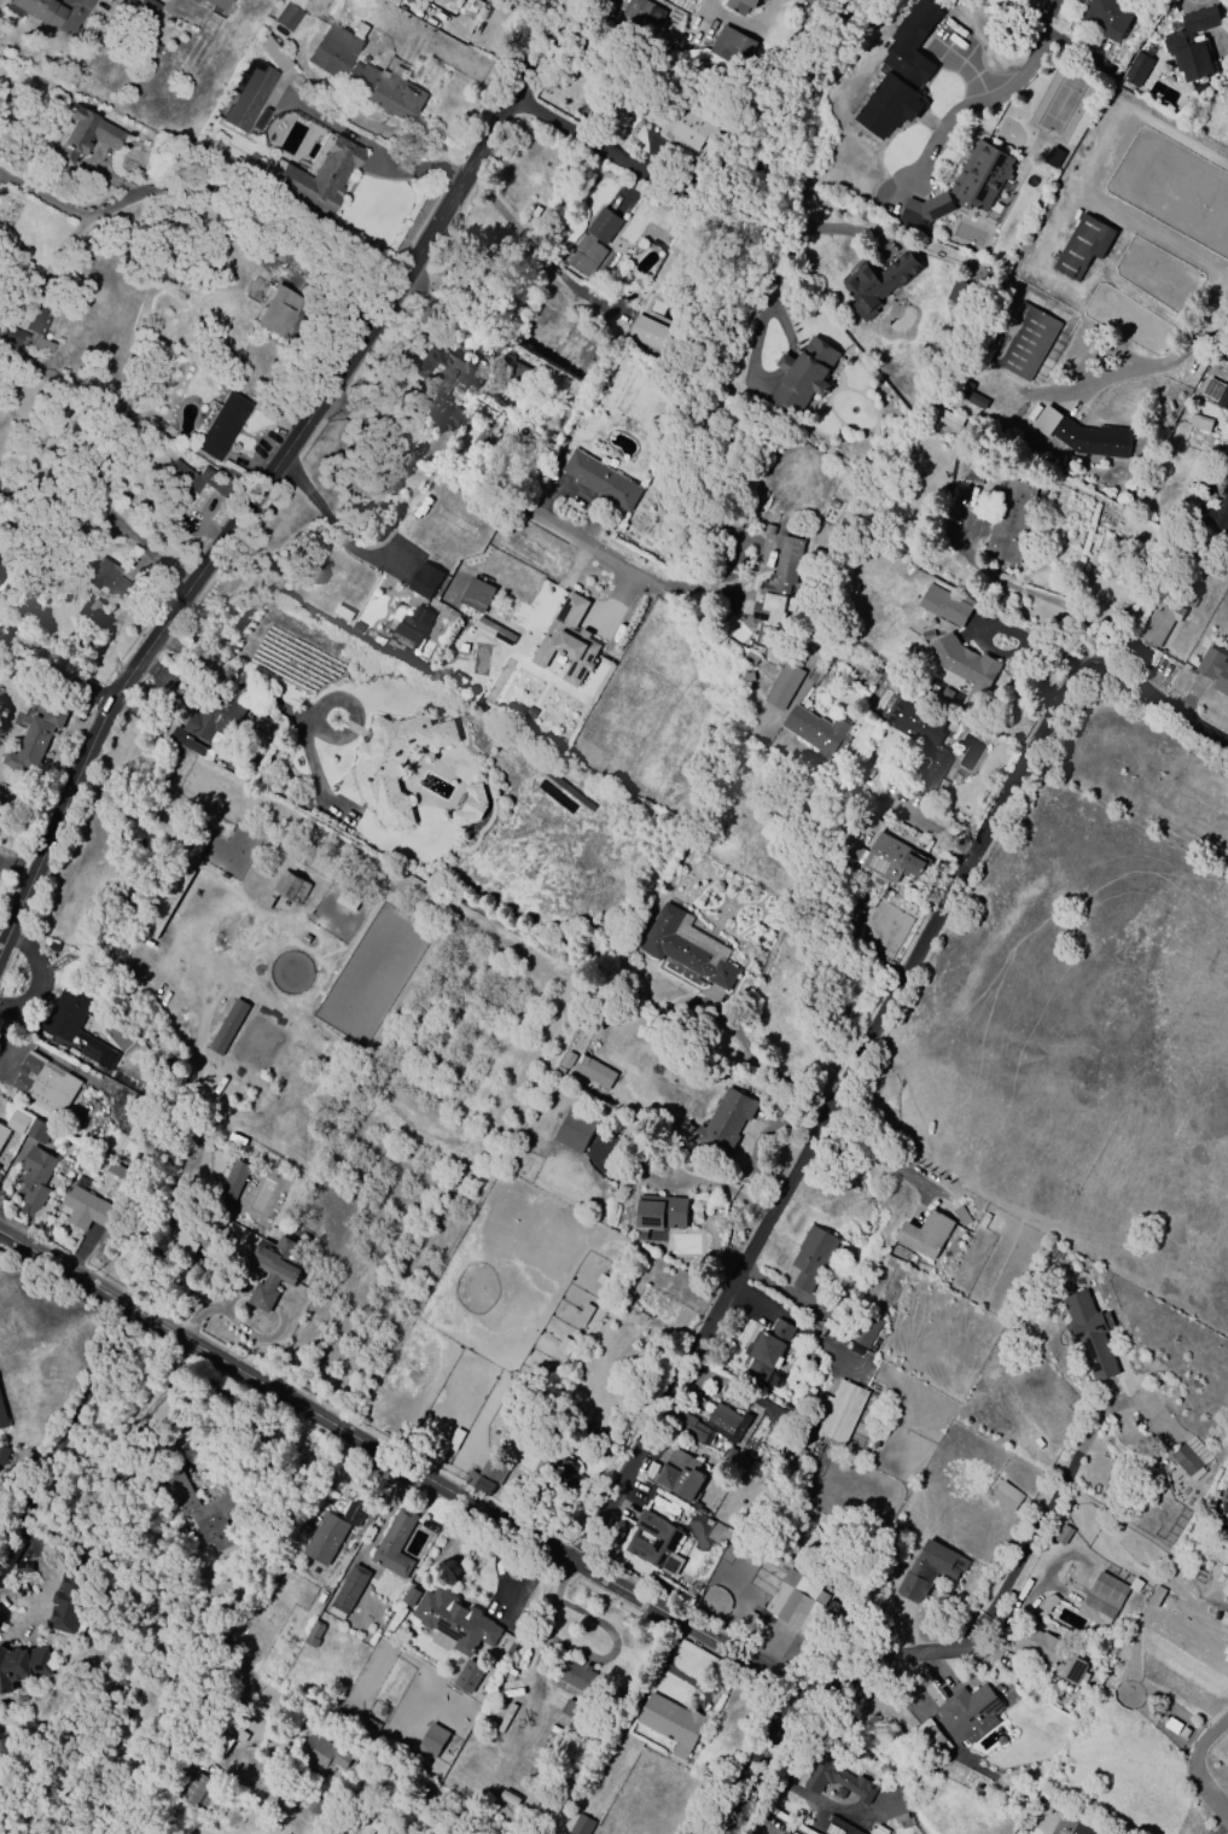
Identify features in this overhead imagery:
building: (192, 0)
building: (1123, 0)
building: (409, 1)
building: (391, 2)
road: (564, 2)
building: (815, 2)
building: (216, 4)
building: (743, 6)
building: (471, 8)
building: (41, 10)
building: (144, 12)
building: (289, 13)
road: (1051, 14)
building: (644, 16)
building: (1107, 17)
road: (745, 22)
building: (1191, 45)
building: (732, 47)
building: (336, 50)
building: (1136, 69)
building: (900, 74)
building: (384, 92)
building: (246, 93)
road: (976, 106)
building: (688, 129)
building: (85, 134)
road: (607, 156)
building: (316, 179)
building: (980, 179)
road: (197, 184)
building: (925, 210)
road: (776, 235)
building: (592, 243)
building: (1081, 246)
road: (534, 249)
building: (878, 285)
road: (772, 291)
building: (961, 293)
building: (277, 310)
building: (33, 327)
building: (648, 333)
building: (1025, 342)
road: (1150, 367)
building: (513, 372)
building: (802, 375)
building: (446, 383)
building: (1216, 394)
building: (971, 397)
building: (1199, 424)
building: (222, 426)
building: (1083, 437)
road: (266, 460)
building: (1227, 478)
building: (194, 479)
building: (600, 481)
road: (483, 489)
building: (1220, 511)
building: (1011, 522)
road: (330, 523)
building: (768, 529)
building: (1, 570)
building: (106, 580)
building: (424, 581)
road: (717, 584)
building: (780, 584)
road: (1026, 592)
building: (476, 595)
building: (945, 605)
building: (1160, 623)
building: (411, 629)
building: (494, 631)
building: (926, 635)
road: (162, 640)
building: (568, 641)
road: (190, 656)
building: (749, 658)
building: (838, 660)
building: (964, 663)
building: (1214, 670)
road: (48, 677)
building: (747, 677)
building: (782, 686)
building: (215, 718)
road: (312, 718)
building: (815, 730)
building: (919, 740)
building: (34, 741)
building: (185, 741)
building: (390, 764)
road: (877, 798)
building: (470, 807)
building: (199, 843)
building: (892, 860)
building: (286, 889)
building: (167, 901)
building: (686, 948)
building: (76, 1024)
building: (227, 1026)
road: (866, 1041)
road: (761, 1067)
building: (593, 1072)
building: (216, 1082)
building: (43, 1083)
building: (722, 1122)
building: (16, 1123)
building: (39, 1131)
building: (574, 1131)
building: (2, 1134)
building: (78, 1134)
road: (869, 1161)
building: (118, 1172)
building: (35, 1175)
building: (232, 1184)
building: (85, 1207)
building: (658, 1213)
building: (960, 1216)
building: (196, 1234)
building: (924, 1234)
building: (811, 1259)
building: (274, 1269)
road: (797, 1327)
building: (865, 1329)
building: (1089, 1334)
building: (767, 1352)
building: (839, 1410)
building: (772, 1411)
road: (141, 1416)
building: (2, 1417)
building: (711, 1425)
road: (65, 1430)
building: (2, 1455)
building: (1186, 1462)
building: (565, 1473)
building: (485, 1477)
building: (680, 1481)
building: (1006, 1496)
building: (1224, 1502)
road: (472, 1508)
building: (697, 1508)
building: (208, 1512)
building: (331, 1532)
road: (1032, 1541)
building: (654, 1543)
building: (392, 1545)
building: (930, 1571)
building: (347, 1591)
building: (1154, 1596)
building: (409, 1597)
building: (798, 1597)
building: (68, 1599)
building: (1101, 1600)
building: (1046, 1605)
building: (454, 1622)
building: (313, 1634)
building: (1051, 1654)
road: (901, 1659)
building: (22, 1666)
building: (467, 1677)
building: (577, 1677)
building: (1096, 1682)
building: (21, 1704)
building: (574, 1713)
building: (967, 1713)
building: (670, 1724)
building: (431, 1741)
building: (319, 1753)
road: (1199, 1772)
building: (836, 1777)
building: (193, 1789)
road: (425, 1795)
building: (313, 1803)
building: (892, 1803)
building: (581, 1826)
building: (838, 1827)
building: (1082, 1828)

